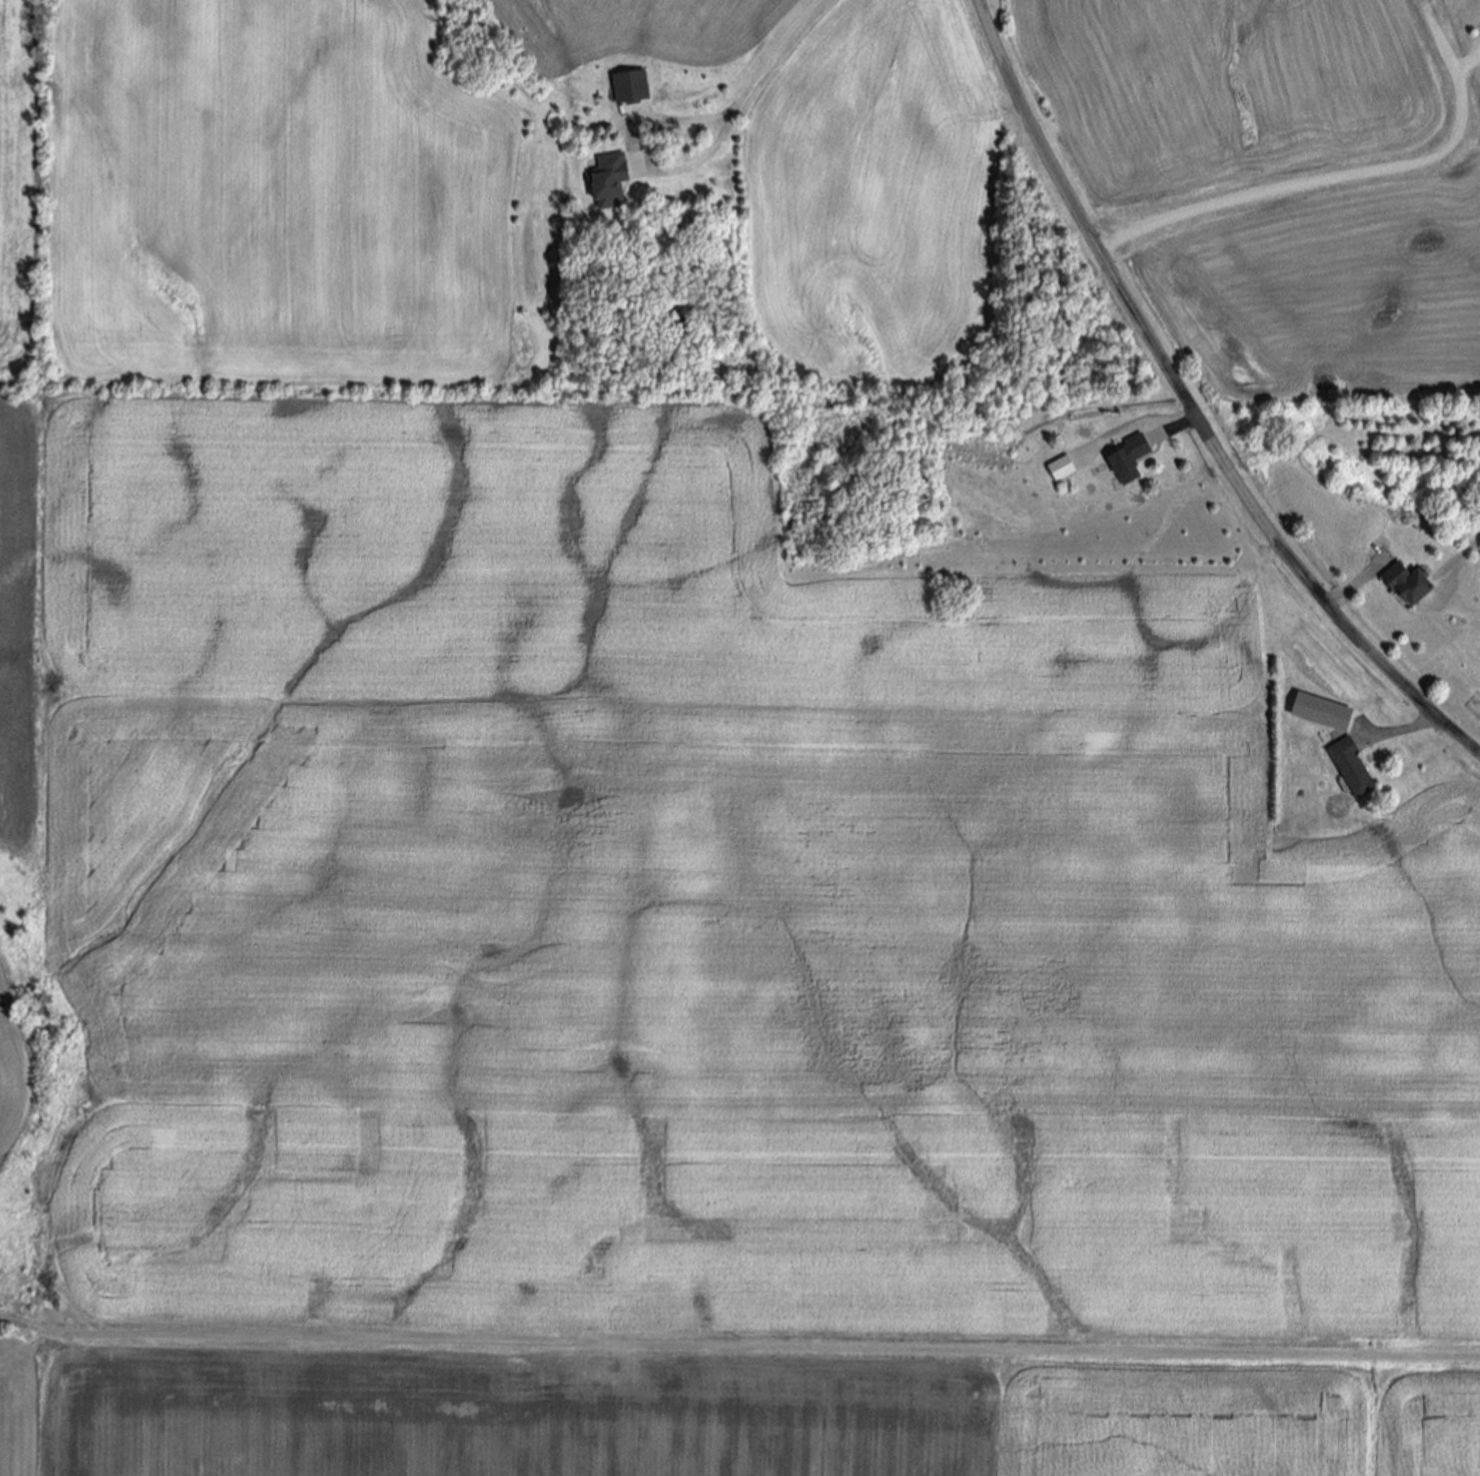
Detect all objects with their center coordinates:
road: (771, 55)
building: (630, 89)
road: (636, 154)
building: (609, 179)
road: (1325, 180)
road: (1187, 406)
road: (1177, 424)
building: (1130, 459)
building: (1061, 469)
building: (1410, 585)
road: (1354, 586)
building: (1320, 713)
road: (1406, 728)
building: (1353, 769)
road: (763, 1346)

